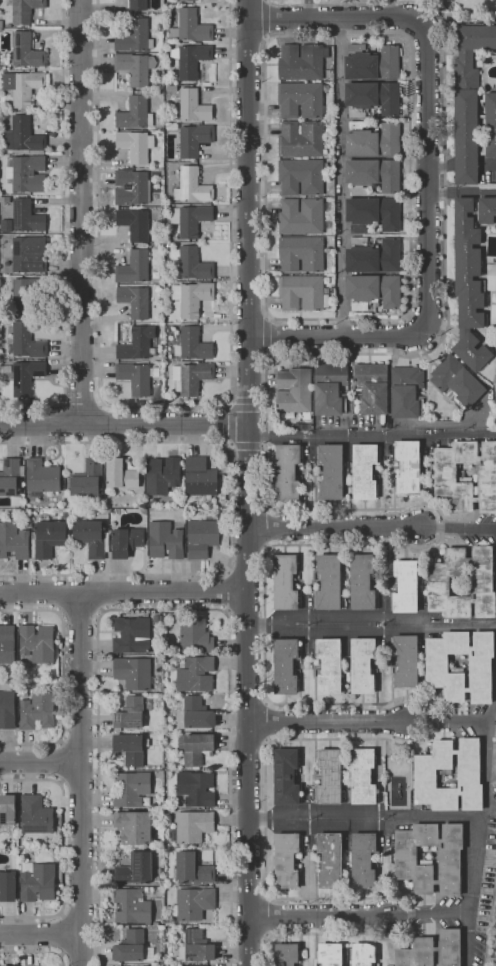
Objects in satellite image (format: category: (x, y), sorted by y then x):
building: (184, 0)
park: (334, 0)
building: (138, 5)
road: (444, 5)
park: (465, 7)
road: (390, 9)
building: (24, 10)
road: (308, 10)
building: (1, 24)
building: (9, 25)
building: (191, 26)
building: (1, 29)
building: (134, 36)
road: (403, 38)
building: (26, 50)
building: (191, 60)
building: (301, 62)
building: (371, 63)
building: (135, 67)
building: (26, 87)
building: (372, 98)
building: (301, 99)
building: (472, 102)
building: (192, 105)
building: (135, 114)
building: (172, 126)
building: (23, 137)
building: (194, 139)
building: (301, 139)
building: (373, 139)
building: (135, 144)
road: (487, 163)
road: (467, 164)
road: (441, 166)
building: (26, 173)
building: (373, 175)
building: (301, 177)
road: (341, 177)
road: (427, 177)
building: (495, 178)
building: (192, 186)
building: (131, 187)
road: (461, 191)
building: (7, 200)
building: (486, 210)
road: (80, 211)
building: (373, 213)
building: (27, 216)
building: (301, 216)
building: (190, 219)
building: (134, 223)
road: (62, 232)
building: (301, 253)
building: (29, 255)
building: (373, 256)
building: (194, 264)
building: (467, 266)
building: (133, 268)
building: (373, 291)
building: (302, 293)
building: (28, 296)
building: (192, 297)
building: (135, 301)
building: (11, 321)
building: (26, 342)
building: (137, 344)
building: (193, 344)
building: (472, 351)
building: (26, 376)
building: (191, 377)
building: (135, 378)
building: (457, 382)
building: (371, 388)
building: (330, 389)
building: (293, 390)
building: (495, 390)
building: (406, 391)
road: (82, 399)
road: (167, 406)
road: (123, 424)
road: (371, 435)
road: (267, 438)
building: (407, 466)
building: (365, 470)
building: (288, 471)
building: (331, 472)
building: (121, 474)
building: (163, 475)
building: (10, 477)
building: (41, 477)
building: (200, 477)
building: (444, 477)
building: (86, 480)
road: (247, 483)
building: (68, 506)
road: (229, 508)
building: (65, 515)
road: (334, 528)
road: (459, 528)
building: (48, 537)
building: (93, 537)
building: (202, 538)
building: (165, 540)
building: (127, 541)
building: (14, 542)
building: (285, 583)
building: (328, 583)
building: (362, 583)
building: (438, 584)
building: (405, 587)
road: (227, 590)
road: (123, 592)
road: (166, 608)
building: (157, 619)
road: (371, 624)
building: (132, 635)
building: (195, 635)
building: (7, 644)
building: (36, 644)
building: (405, 660)
building: (362, 664)
building: (286, 665)
building: (329, 665)
building: (435, 666)
building: (134, 673)
building: (196, 674)
road: (63, 677)
building: (7, 710)
building: (38, 711)
building: (130, 713)
building: (197, 714)
road: (327, 722)
road: (448, 723)
building: (195, 747)
building: (130, 748)
road: (486, 753)
road: (40, 761)
building: (493, 765)
building: (286, 777)
building: (329, 777)
building: (363, 777)
building: (425, 777)
road: (81, 779)
building: (131, 788)
building: (196, 788)
road: (265, 805)
building: (7, 813)
building: (35, 815)
road: (433, 818)
building: (134, 827)
building: (192, 827)
road: (64, 847)
building: (287, 859)
building: (329, 859)
building: (363, 860)
building: (413, 862)
building: (192, 868)
building: (135, 869)
building: (37, 882)
building: (8, 886)
building: (193, 904)
building: (131, 906)
road: (408, 913)
road: (321, 915)
road: (431, 915)
road: (269, 916)
building: (156, 923)
building: (167, 928)
road: (328, 933)
road: (41, 935)
building: (196, 947)
building: (132, 948)
building: (432, 950)
road: (36, 952)
building: (286, 954)
building: (330, 954)
building: (364, 954)
building: (8, 965)

